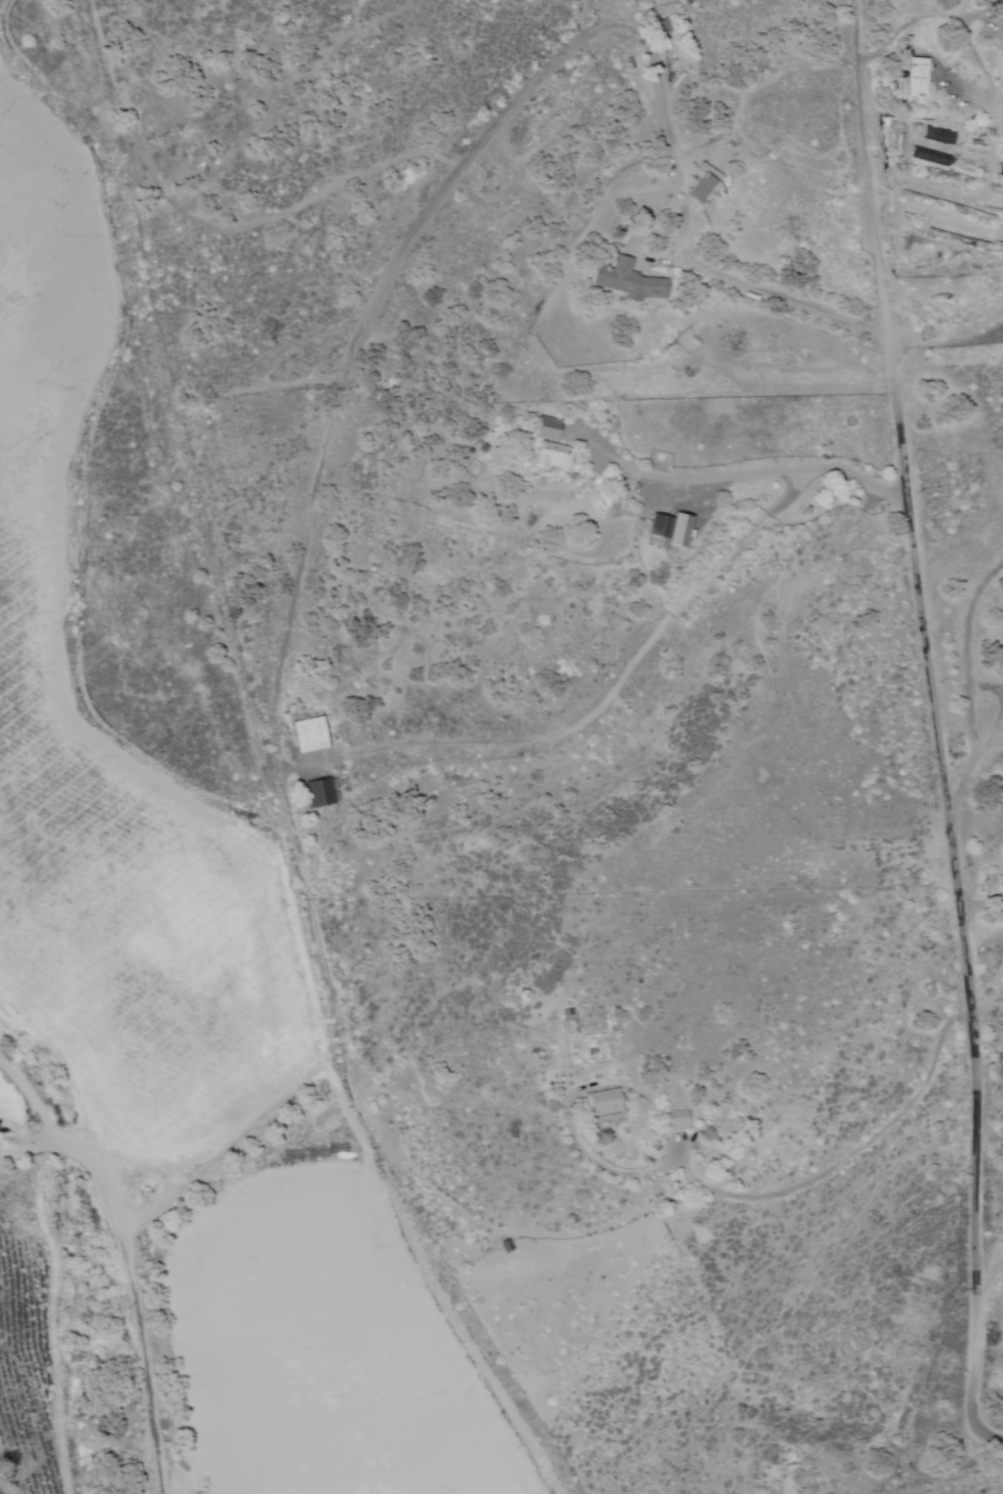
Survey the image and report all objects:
crop: (1, 2)
building: (657, 27)
building: (913, 75)
road: (869, 167)
building: (701, 186)
building: (628, 280)
road: (945, 340)
road: (336, 399)
building: (544, 427)
building: (550, 454)
road: (956, 499)
building: (669, 528)
building: (999, 582)
road: (932, 679)
building: (306, 734)
building: (316, 792)
crop: (181, 1023)
building: (600, 1102)
building: (675, 1119)
road: (974, 1208)
building: (502, 1246)
road: (122, 1260)
road: (977, 1418)

